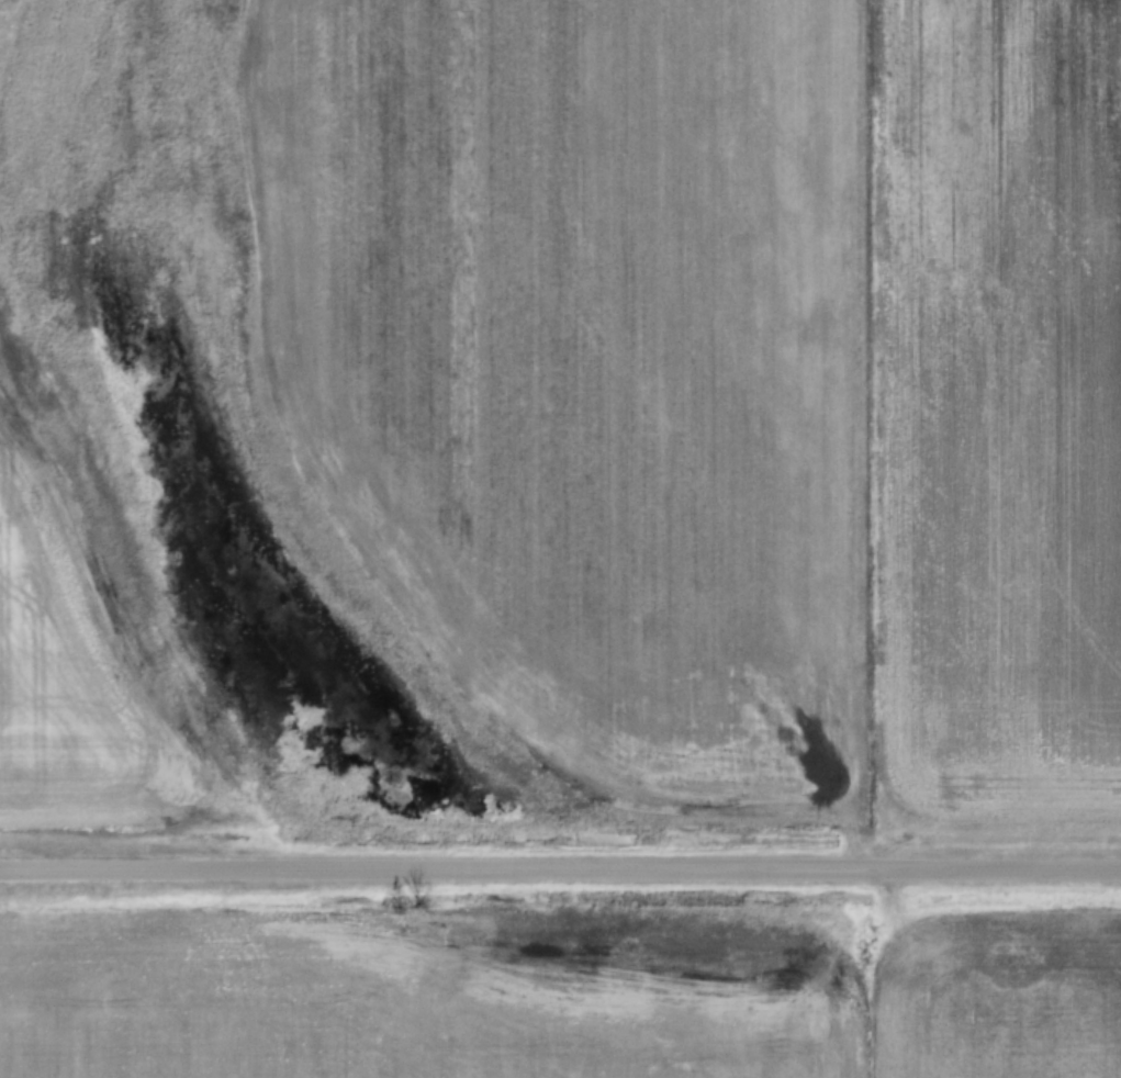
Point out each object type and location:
road: (560, 872)

